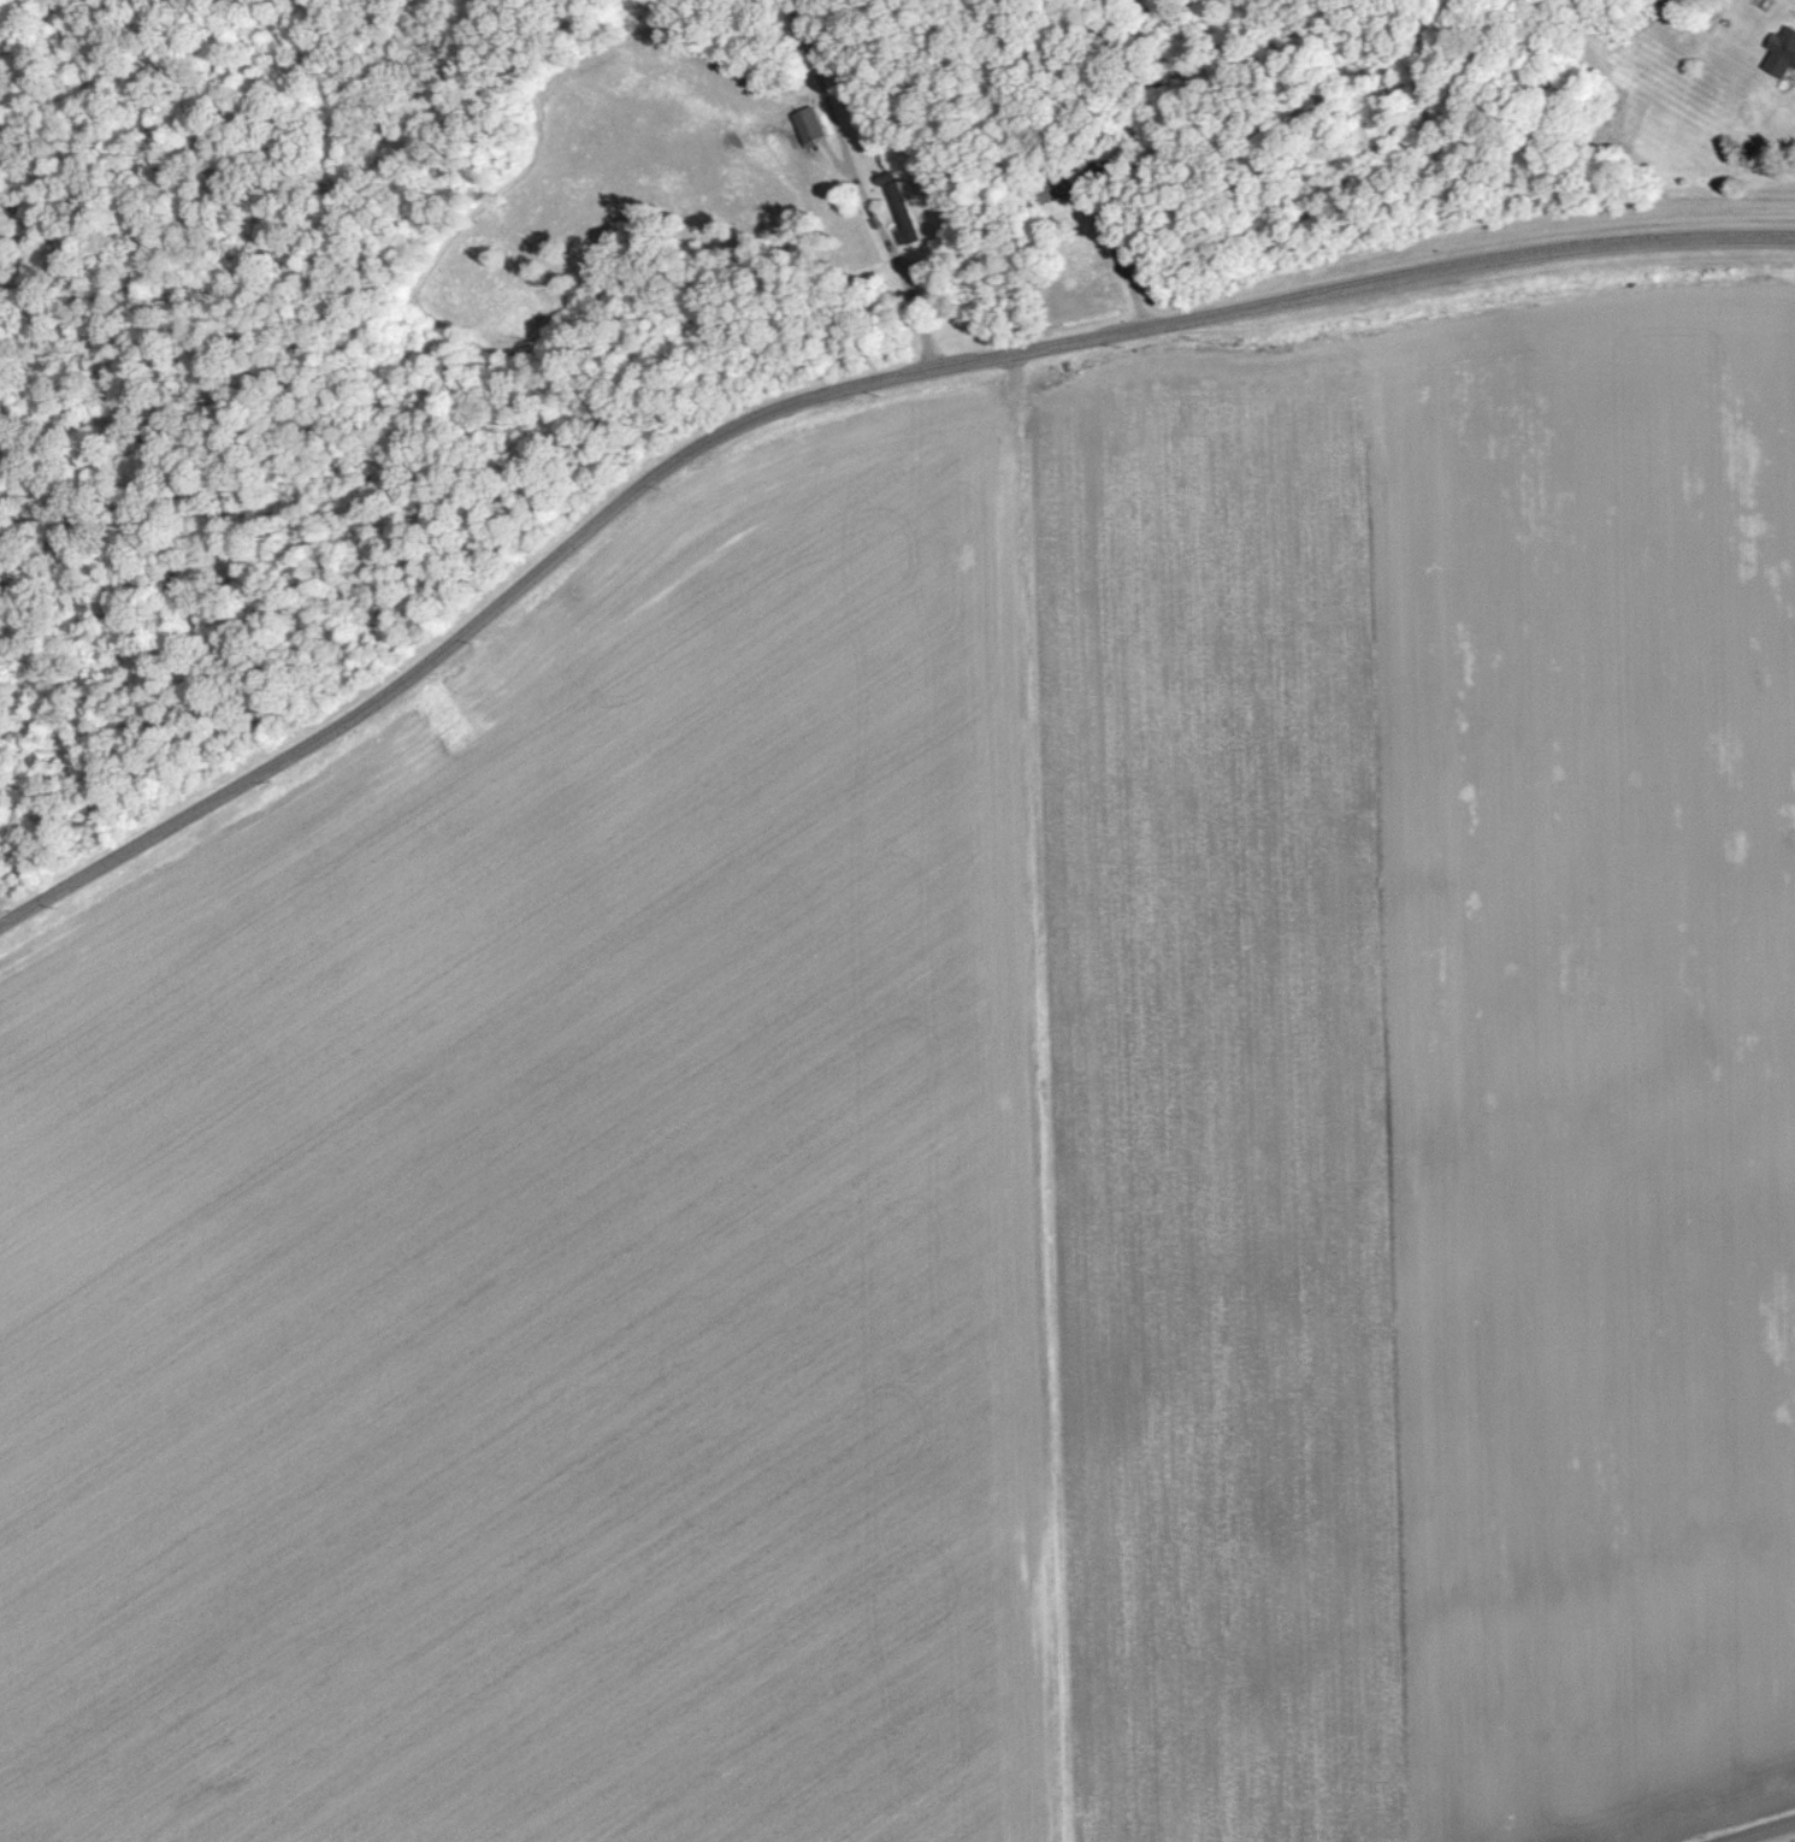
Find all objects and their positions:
building: (1778, 49)
building: (804, 125)
building: (898, 213)
road: (823, 391)
road: (1761, 1831)

